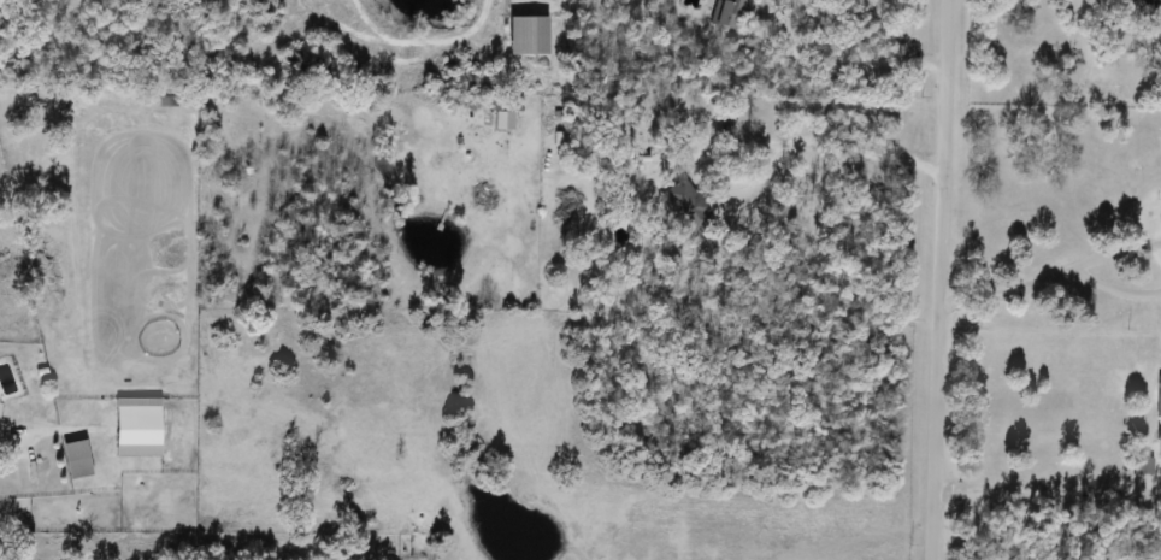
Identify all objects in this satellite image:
building: (1156, 12)
building: (732, 13)
building: (529, 34)
road: (844, 51)
building: (169, 100)
building: (505, 111)
road: (818, 131)
building: (689, 205)
road: (1050, 276)
road: (929, 279)
building: (1160, 420)
building: (139, 426)
building: (77, 459)
road: (1038, 487)

